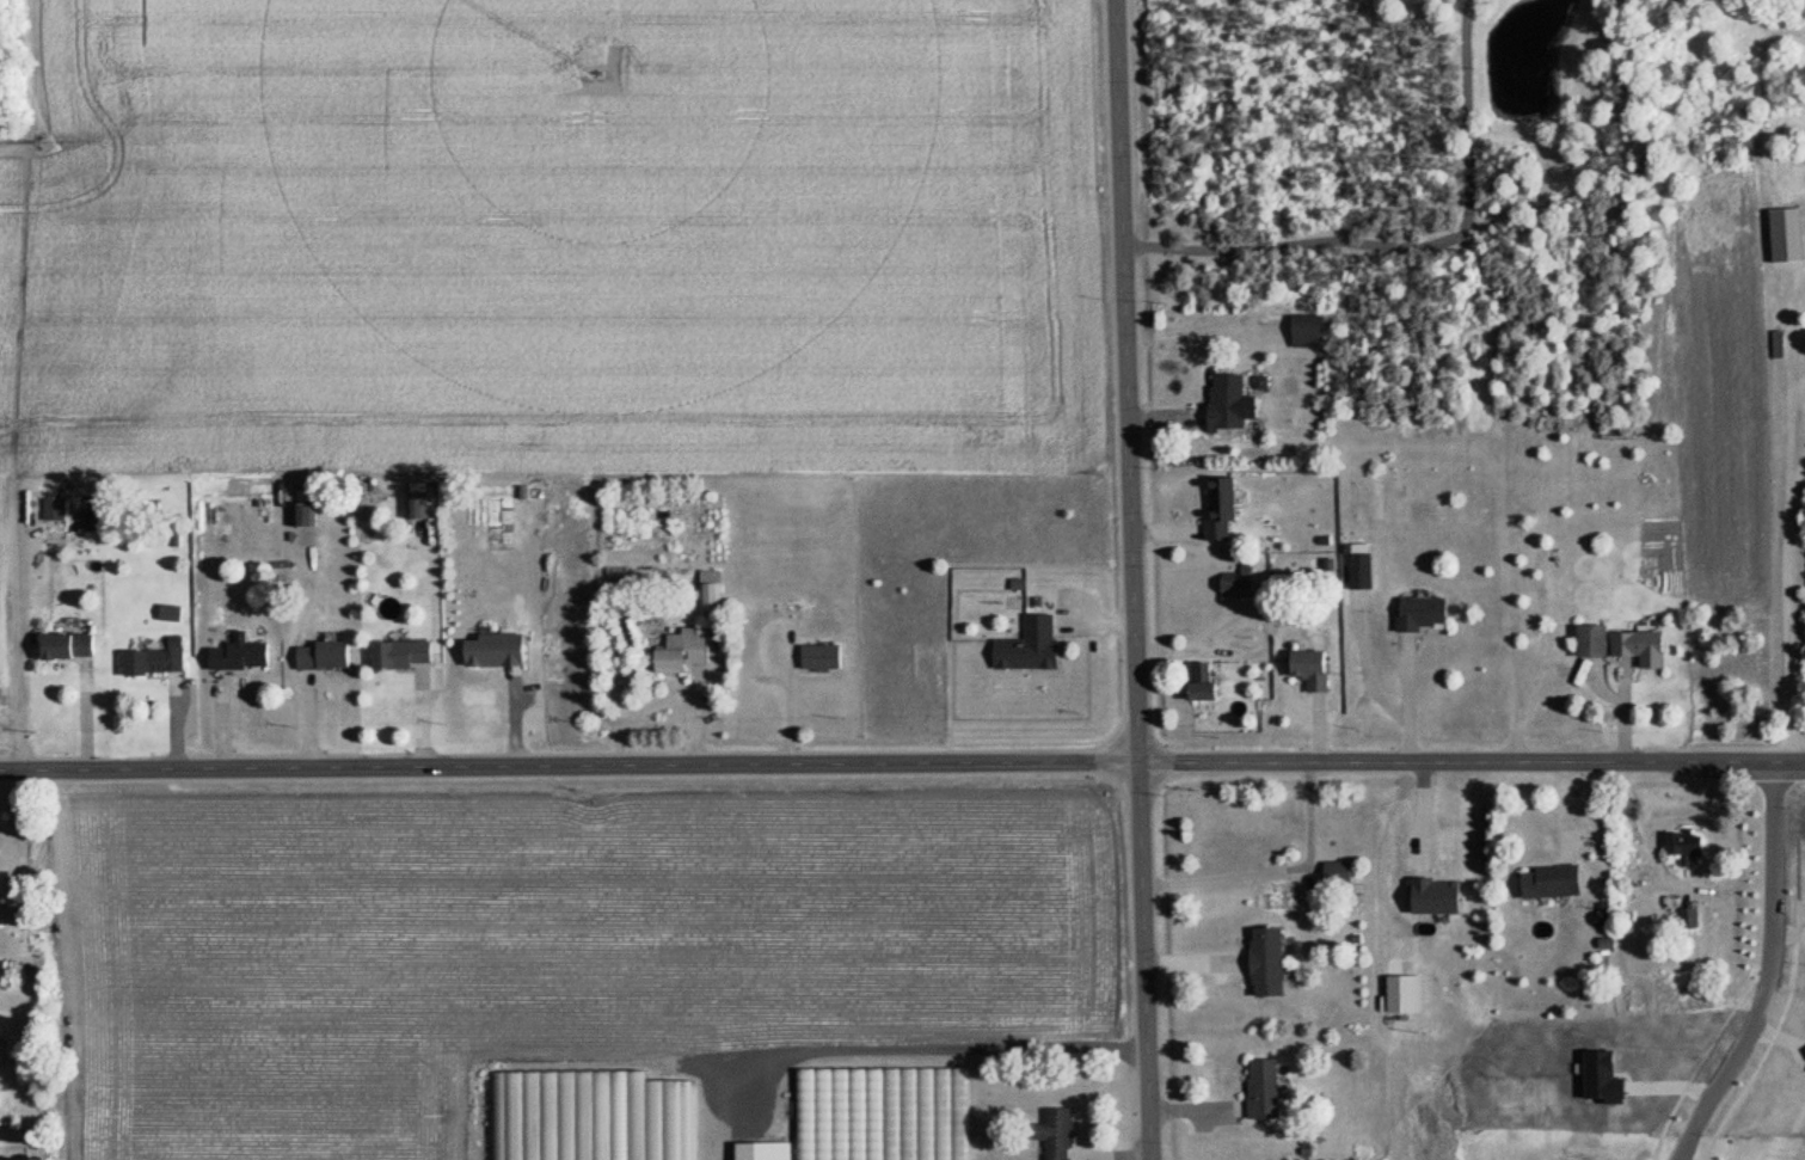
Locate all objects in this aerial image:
building: (1803, 146)
building: (1586, 158)
building: (1785, 237)
road: (1410, 245)
building: (1308, 331)
building: (1226, 403)
road: (1794, 425)
road: (1798, 474)
building: (416, 505)
building: (53, 509)
building: (1220, 510)
building: (303, 516)
building: (1359, 569)
road: (1134, 579)
building: (1235, 589)
building: (710, 591)
building: (1420, 613)
road: (1794, 627)
building: (1590, 642)
building: (1030, 646)
building: (66, 647)
building: (1639, 647)
building: (493, 651)
building: (680, 651)
building: (238, 655)
building: (400, 656)
building: (321, 657)
building: (819, 658)
building: (153, 663)
building: (1309, 670)
building: (1201, 683)
road: (1385, 702)
road: (1407, 745)
road: (902, 763)
road: (1649, 830)
building: (1683, 845)
road: (1273, 871)
building: (1337, 873)
building: (1549, 882)
building: (1688, 919)
building: (1266, 963)
road: (1772, 976)
road: (933, 1051)
building: (1263, 1087)
building: (1674, 1092)
building: (884, 1113)
building: (575, 1115)
building: (1055, 1134)
building: (762, 1150)

